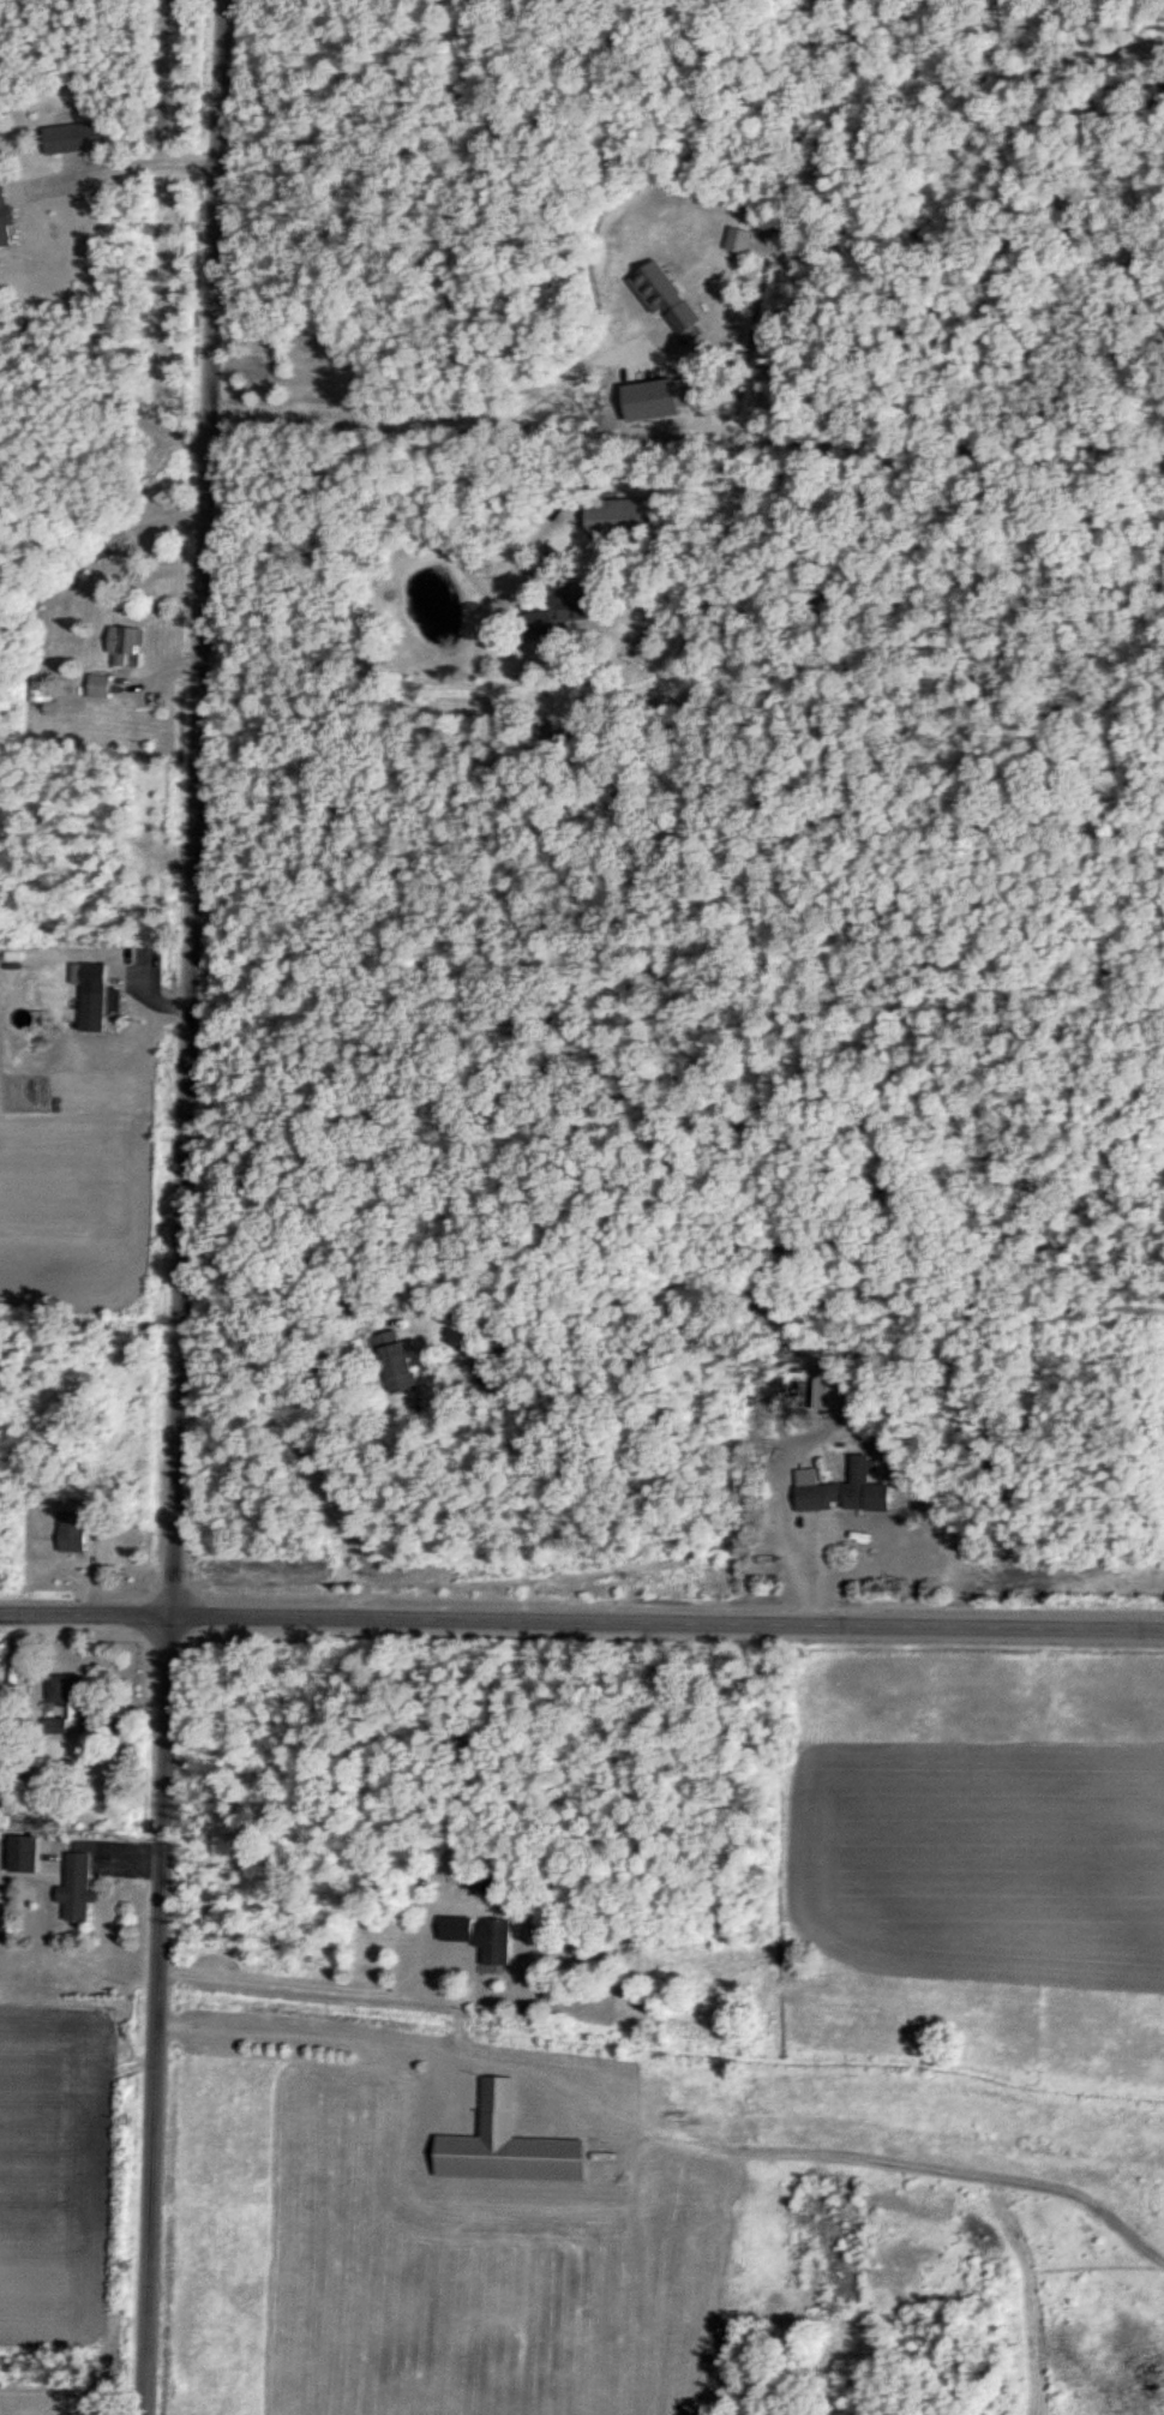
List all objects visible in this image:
building: (66, 138)
building: (10, 214)
building: (734, 239)
road: (83, 275)
building: (672, 298)
road: (421, 425)
road: (374, 504)
building: (637, 516)
building: (587, 609)
building: (130, 647)
building: (103, 685)
building: (102, 997)
road: (181, 1206)
building: (403, 1355)
building: (814, 1394)
building: (775, 1403)
road: (290, 1445)
building: (854, 1493)
building: (77, 1532)
road: (582, 1619)
building: (70, 1685)
building: (28, 1853)
building: (83, 1886)
building: (476, 1935)
road: (312, 1985)
road: (325, 2033)
building: (500, 2144)

